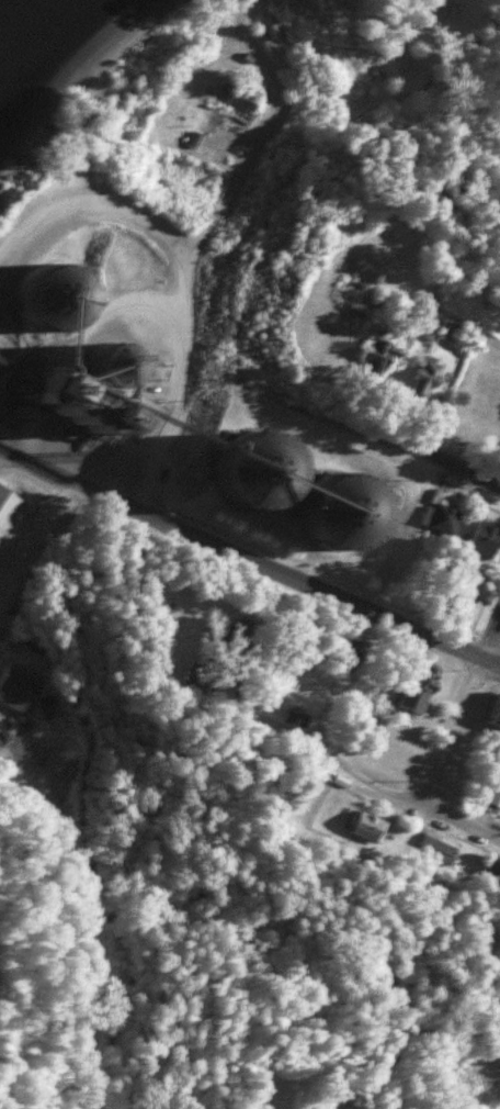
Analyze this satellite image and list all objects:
building: (241, 97)
road: (225, 206)
road: (76, 238)
building: (357, 292)
road: (418, 300)
building: (447, 325)
building: (341, 344)
building: (377, 357)
building: (423, 378)
road: (351, 424)
road: (171, 439)
building: (270, 472)
building: (9, 511)
building: (351, 511)
building: (439, 518)
building: (485, 537)
road: (248, 558)
building: (467, 587)
road: (492, 640)
road: (94, 657)
building: (419, 685)
building: (18, 686)
building: (497, 718)
road: (450, 729)
building: (499, 744)
road: (352, 774)
road: (458, 829)
building: (438, 847)
road: (82, 930)

